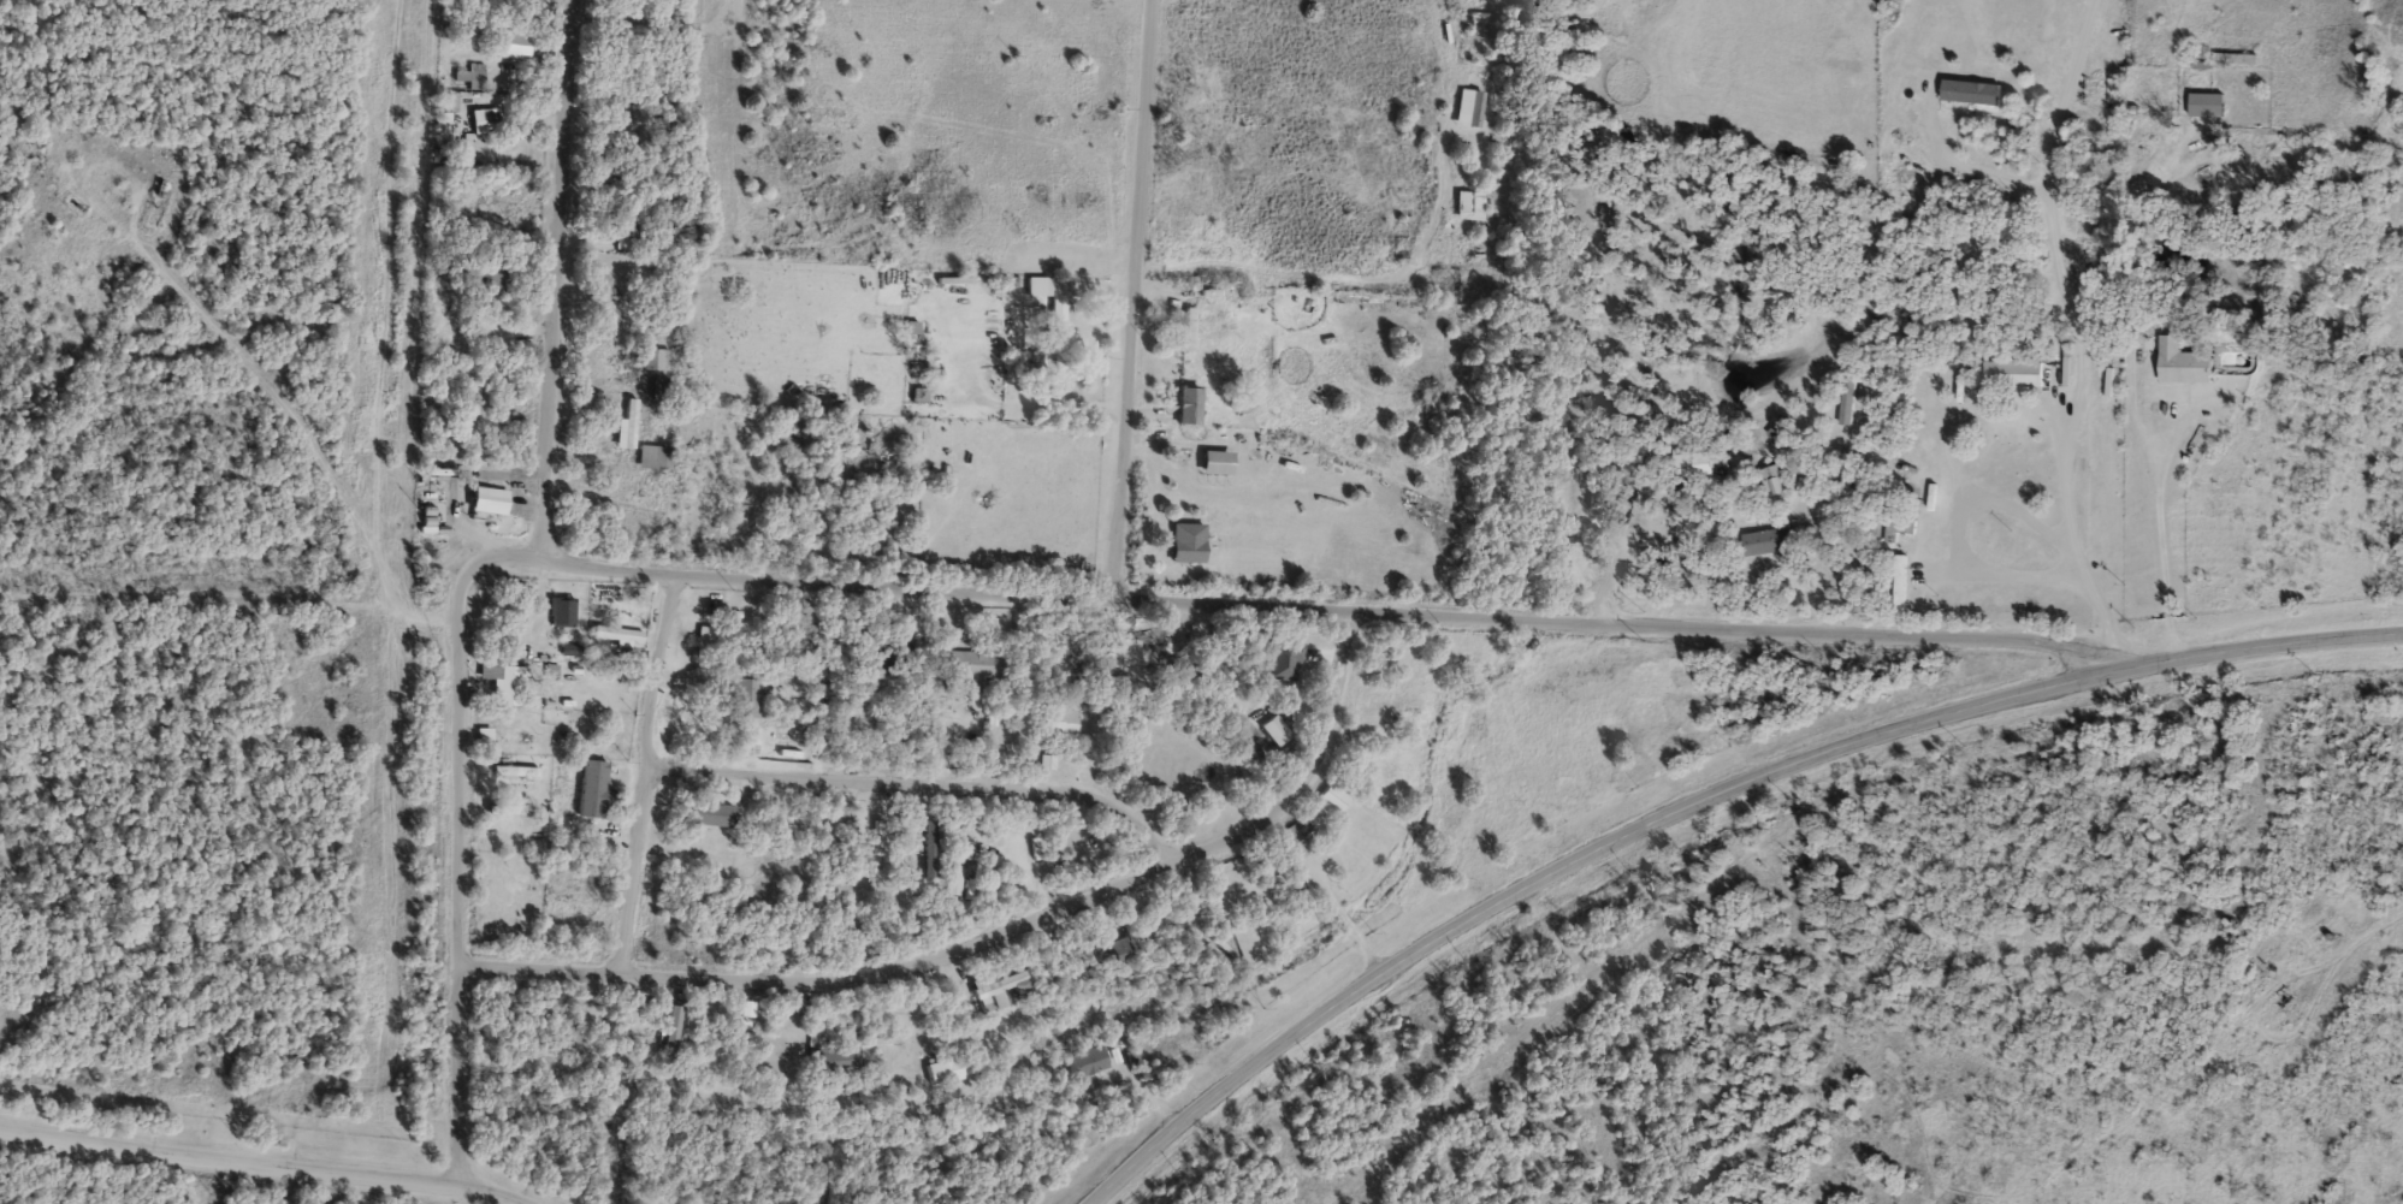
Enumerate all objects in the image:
building: (1484, 16)
road: (41, 20)
building: (514, 43)
building: (469, 76)
building: (2207, 103)
building: (1468, 106)
building: (625, 221)
road: (549, 274)
road: (1129, 298)
building: (1059, 307)
building: (911, 327)
building: (1188, 327)
building: (656, 357)
building: (2184, 361)
building: (2014, 373)
building: (659, 386)
building: (918, 393)
building: (1189, 404)
building: (627, 425)
building: (656, 456)
building: (1781, 484)
building: (1771, 541)
building: (1189, 542)
road: (2162, 548)
park: (180, 583)
building: (1900, 583)
road: (1202, 603)
building: (716, 609)
building: (562, 610)
road: (165, 611)
building: (620, 633)
building: (709, 640)
building: (570, 648)
building: (893, 651)
building: (617, 652)
building: (1284, 658)
building: (975, 663)
building: (505, 681)
building: (741, 696)
building: (1060, 720)
building: (484, 736)
building: (515, 769)
road: (651, 775)
road: (940, 779)
road: (464, 788)
building: (594, 790)
building: (1334, 796)
road: (35, 802)
road: (1698, 805)
building: (510, 808)
building: (712, 814)
building: (1292, 840)
building: (878, 844)
road: (1346, 919)
building: (1119, 949)
road: (878, 963)
building: (1010, 984)
building: (671, 1032)
building: (740, 1044)
building: (782, 1048)
building: (840, 1057)
building: (945, 1069)
road: (114, 1143)
road: (373, 1176)

